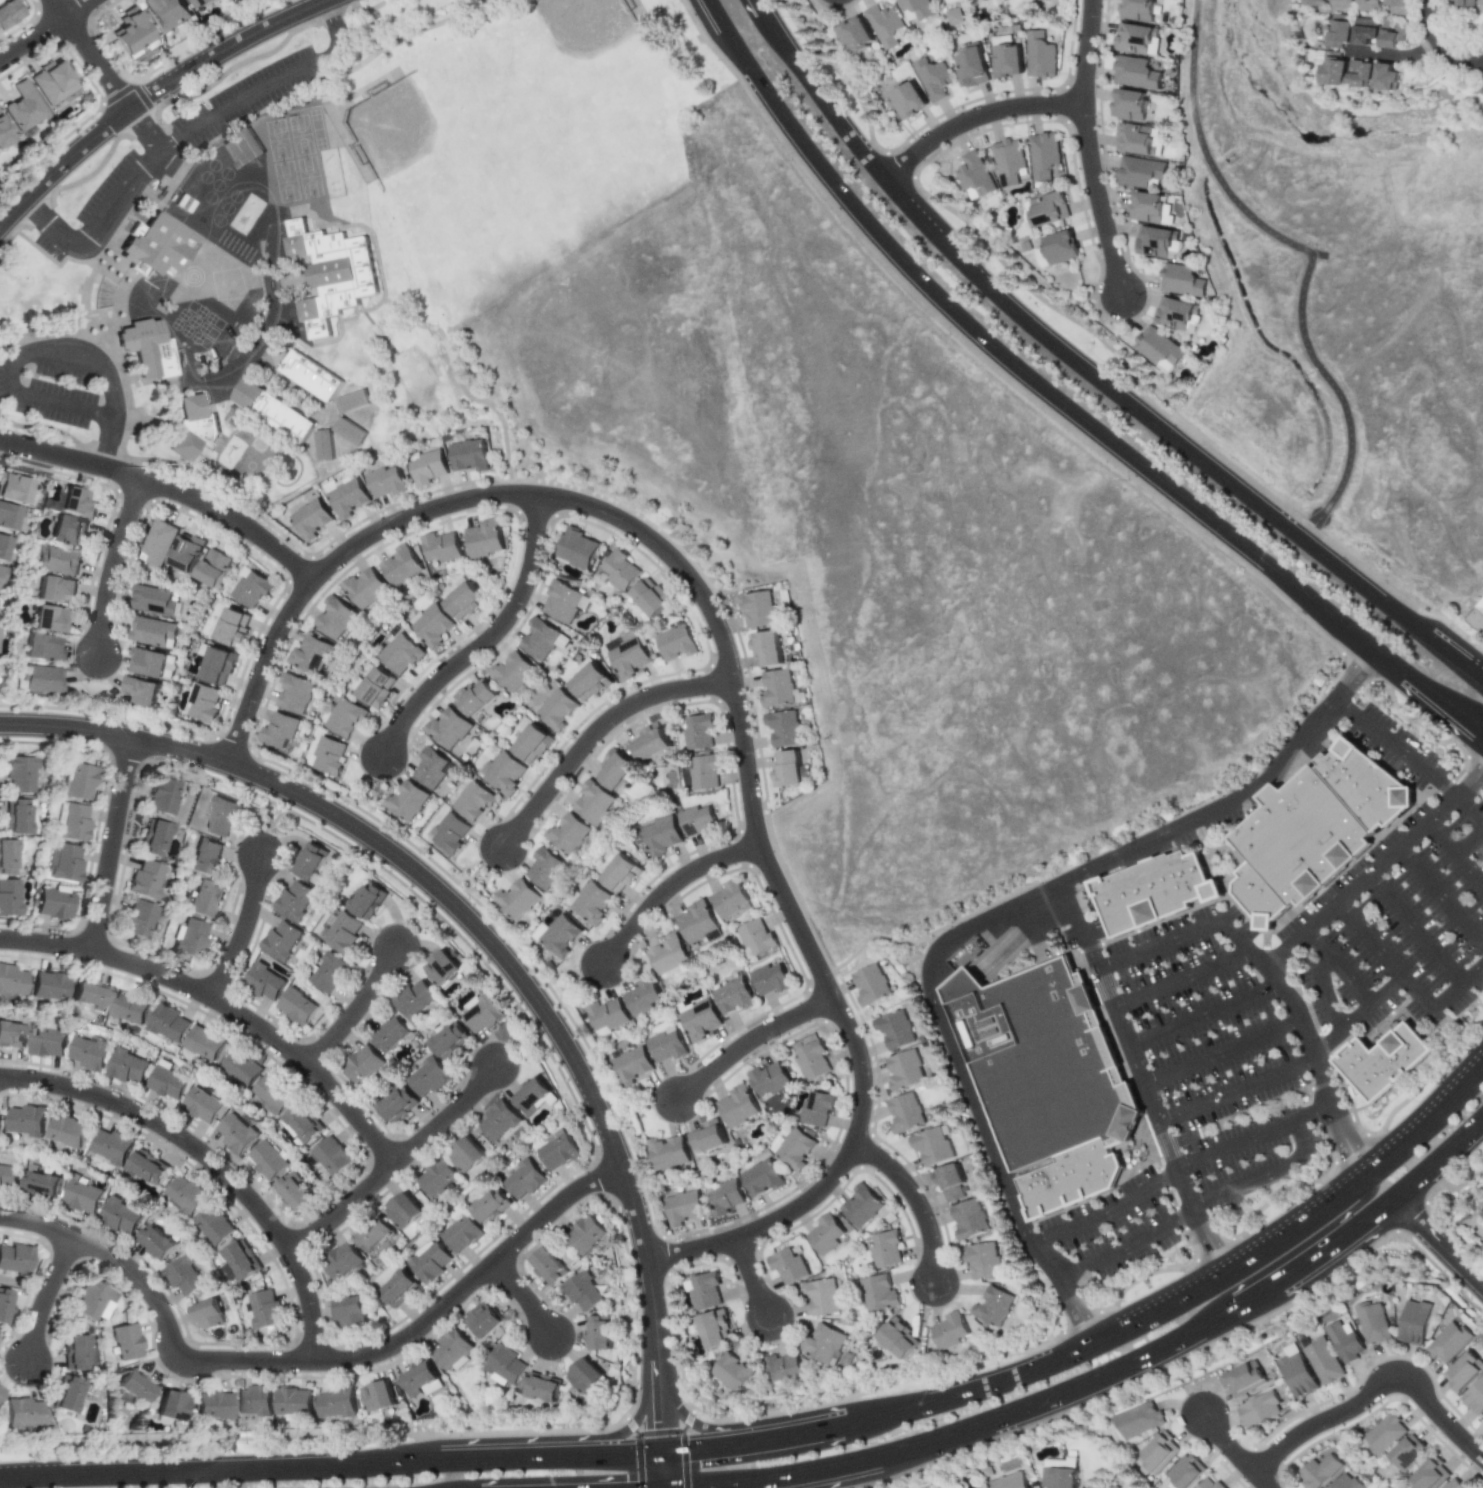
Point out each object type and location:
building: (948, 1)
building: (1314, 2)
building: (1465, 2)
building: (1479, 2)
building: (201, 3)
building: (1339, 4)
building: (1367, 5)
building: (1396, 6)
building: (915, 8)
road: (79, 9)
building: (1137, 9)
building: (10, 13)
building: (168, 13)
building: (884, 24)
building: (1338, 30)
building: (1362, 30)
building: (133, 34)
building: (854, 34)
building: (1389, 36)
building: (1135, 37)
road: (33, 40)
road: (1440, 44)
road: (1084, 52)
building: (1039, 54)
road: (1393, 54)
road: (92, 55)
building: (1005, 57)
building: (970, 67)
building: (1330, 68)
building: (1134, 72)
building: (1358, 73)
building: (932, 77)
building: (1384, 77)
building: (52, 81)
road: (151, 96)
building: (906, 98)
building: (1129, 104)
building: (23, 106)
road: (976, 117)
road: (147, 131)
building: (3, 134)
road: (186, 135)
building: (1138, 139)
building: (242, 147)
building: (1042, 154)
road: (1208, 158)
building: (1007, 160)
building: (1140, 171)
building: (973, 176)
road: (1096, 201)
building: (1151, 207)
building: (1044, 209)
building: (1159, 242)
building: (153, 246)
building: (1057, 248)
building: (330, 273)
building: (1182, 279)
building: (1179, 313)
building: (147, 348)
building: (1158, 349)
building: (275, 354)
road: (87, 357)
road: (1093, 367)
building: (309, 375)
road: (1342, 398)
road: (51, 401)
building: (351, 401)
road: (1052, 406)
building: (272, 410)
building: (192, 427)
building: (348, 431)
road: (111, 443)
building: (323, 444)
park: (810, 449)
building: (468, 455)
building: (428, 467)
building: (385, 481)
building: (14, 487)
road: (167, 488)
building: (346, 495)
building: (76, 502)
building: (8, 516)
building: (311, 519)
building: (67, 529)
building: (484, 538)
building: (158, 542)
building: (3, 546)
building: (440, 547)
building: (577, 548)
building: (186, 552)
building: (59, 560)
road: (113, 565)
building: (399, 565)
building: (213, 567)
building: (619, 569)
building: (1, 572)
building: (250, 587)
building: (53, 588)
building: (363, 588)
building: (650, 597)
building: (462, 601)
building: (564, 602)
building: (1480, 607)
building: (757, 608)
building: (334, 617)
building: (50, 619)
building: (430, 624)
building: (233, 627)
building: (153, 632)
road: (488, 639)
building: (539, 639)
building: (675, 642)
building: (41, 648)
building: (765, 649)
building: (400, 653)
building: (310, 654)
building: (626, 654)
building: (148, 662)
building: (218, 665)
building: (512, 671)
road: (733, 677)
building: (39, 678)
building: (588, 680)
building: (372, 686)
building: (776, 688)
building: (141, 690)
building: (294, 693)
building: (475, 697)
building: (203, 702)
building: (556, 709)
building: (345, 717)
building: (523, 725)
building: (782, 727)
building: (448, 728)
building: (278, 729)
road: (597, 730)
building: (697, 731)
building: (648, 742)
building: (531, 744)
building: (328, 755)
road: (1408, 762)
building: (430, 768)
building: (786, 768)
building: (614, 769)
building: (703, 772)
building: (19, 773)
building: (504, 773)
building: (80, 781)
building: (1371, 785)
building: (162, 795)
building: (407, 800)
building: (473, 801)
building: (593, 802)
building: (16, 816)
building: (222, 816)
building: (696, 821)
building: (72, 822)
road: (276, 823)
building: (449, 832)
building: (567, 833)
building: (660, 835)
building: (1308, 837)
building: (153, 838)
road: (1470, 844)
road: (113, 845)
road: (1455, 854)
building: (6, 856)
building: (205, 857)
building: (310, 861)
building: (65, 863)
building: (544, 868)
road: (1377, 868)
building: (619, 874)
building: (144, 880)
road: (669, 888)
building: (1158, 893)
building: (9, 897)
road: (450, 897)
building: (728, 898)
building: (1264, 898)
road: (1440, 898)
building: (204, 899)
building: (516, 899)
building: (294, 900)
building: (368, 900)
building: (54, 902)
building: (590, 902)
road: (462, 913)
building: (138, 919)
road: (980, 920)
building: (695, 922)
road: (244, 928)
building: (341, 931)
road: (1413, 933)
building: (559, 936)
building: (190, 938)
building: (755, 938)
road: (881, 939)
building: (281, 940)
building: (666, 954)
road: (1340, 966)
building: (441, 967)
building: (329, 973)
building: (769, 979)
building: (12, 980)
road: (1279, 980)
building: (263, 981)
road: (1182, 981)
building: (870, 984)
road: (1407, 984)
building: (49, 986)
road: (1325, 992)
building: (89, 994)
building: (732, 996)
building: (641, 997)
building: (413, 999)
road: (223, 1004)
building: (296, 1006)
building: (128, 1007)
road: (356, 1009)
parking lot: (1279, 1009)
building: (482, 1012)
building: (607, 1013)
road: (1358, 1015)
road: (1205, 1016)
building: (698, 1018)
building: (168, 1022)
building: (894, 1029)
building: (390, 1033)
building: (12, 1034)
building: (448, 1040)
road: (750, 1041)
building: (48, 1042)
building: (204, 1042)
building: (665, 1044)
road: (525, 1047)
building: (89, 1053)
road: (1223, 1054)
street lamp: (1454, 1058)
building: (812, 1060)
building: (1043, 1061)
building: (1387, 1062)
building: (362, 1064)
building: (631, 1065)
building: (127, 1066)
building: (241, 1068)
building: (903, 1068)
building: (428, 1077)
building: (768, 1079)
road: (1141, 1079)
building: (167, 1080)
road: (1238, 1090)
building: (271, 1094)
building: (531, 1094)
building: (396, 1103)
building: (202, 1104)
building: (737, 1106)
building: (816, 1108)
building: (905, 1111)
building: (0, 1112)
road: (447, 1117)
building: (27, 1120)
building: (497, 1120)
building: (301, 1125)
building: (67, 1130)
building: (236, 1133)
building: (707, 1136)
building: (931, 1143)
building: (111, 1147)
building: (795, 1149)
building: (556, 1150)
building: (667, 1152)
building: (466, 1154)
building: (332, 1155)
building: (267, 1159)
road: (212, 1161)
building: (148, 1166)
road: (1178, 1169)
building: (8, 1176)
building: (436, 1177)
building: (761, 1177)
building: (1070, 1178)
building: (523, 1179)
building: (949, 1180)
street lamp: (1459, 1181)
building: (41, 1184)
street lamp: (1315, 1186)
building: (294, 1192)
building: (185, 1194)
building: (82, 1196)
building: (724, 1196)
road: (916, 1200)
building: (860, 1205)
building: (490, 1206)
building: (682, 1207)
road: (1194, 1207)
road: (343, 1209)
building: (403, 1210)
building: (119, 1216)
building: (967, 1217)
road: (1340, 1220)
building: (214, 1224)
building: (373, 1234)
building: (461, 1234)
building: (584, 1234)
building: (825, 1234)
building: (156, 1242)
road: (1438, 1242)
building: (886, 1249)
building: (15, 1258)
building: (980, 1258)
building: (242, 1259)
building: (341, 1260)
building: (428, 1261)
building: (548, 1266)
building: (787, 1266)
building: (183, 1275)
road: (752, 1277)
building: (398, 1289)
building: (582, 1291)
building: (704, 1291)
building: (879, 1293)
building: (821, 1296)
road: (524, 1297)
road: (46, 1298)
building: (92, 1300)
street lamp: (1472, 1300)
street lamp: (1125, 1302)
building: (4, 1305)
building: (992, 1306)
building: (265, 1309)
building: (350, 1311)
building: (208, 1314)
building: (483, 1320)
building: (1415, 1322)
street lamp: (1272, 1323)
building: (1375, 1323)
building: (714, 1328)
building: (948, 1330)
building: (598, 1333)
building: (897, 1337)
building: (125, 1341)
building: (1346, 1342)
building: (1449, 1342)
building: (823, 1343)
building: (451, 1348)
building: (73, 1352)
road: (309, 1361)
building: (1324, 1361)
building: (503, 1365)
building: (784, 1368)
road: (1115, 1369)
building: (1463, 1370)
building: (1297, 1371)
building: (733, 1372)
building: (585, 1375)
building: (420, 1379)
street lamp: (919, 1379)
building: (1243, 1379)
road: (1375, 1386)
building: (133, 1387)
building: (541, 1387)
building: (1, 1391)
building: (66, 1394)
building: (377, 1396)
building: (1474, 1397)
building: (254, 1400)
building: (294, 1401)
building: (336, 1402)
building: (170, 1405)
building: (212, 1405)
building: (1259, 1410)
building: (21, 1412)
road: (659, 1412)
building: (1482, 1414)
building: (1139, 1420)
road: (691, 1422)
traffic signals: (660, 1423)
street lamp: (1045, 1431)
road: (619, 1432)
building: (1385, 1433)
road: (792, 1435)
road: (1229, 1446)
traffic signals: (695, 1448)
building: (1407, 1452)
building: (1157, 1453)
building: (1062, 1461)
road: (662, 1469)
building: (1186, 1471)
building: (1318, 1471)
building: (1427, 1475)
building: (1058, 1478)
building: (1009, 1481)
road: (1261, 1481)
building: (1345, 1482)
building: (1209, 1483)
building: (1454, 1483)
road: (744, 1484)
building: (1125, 1485)
building: (1111, 1486)

